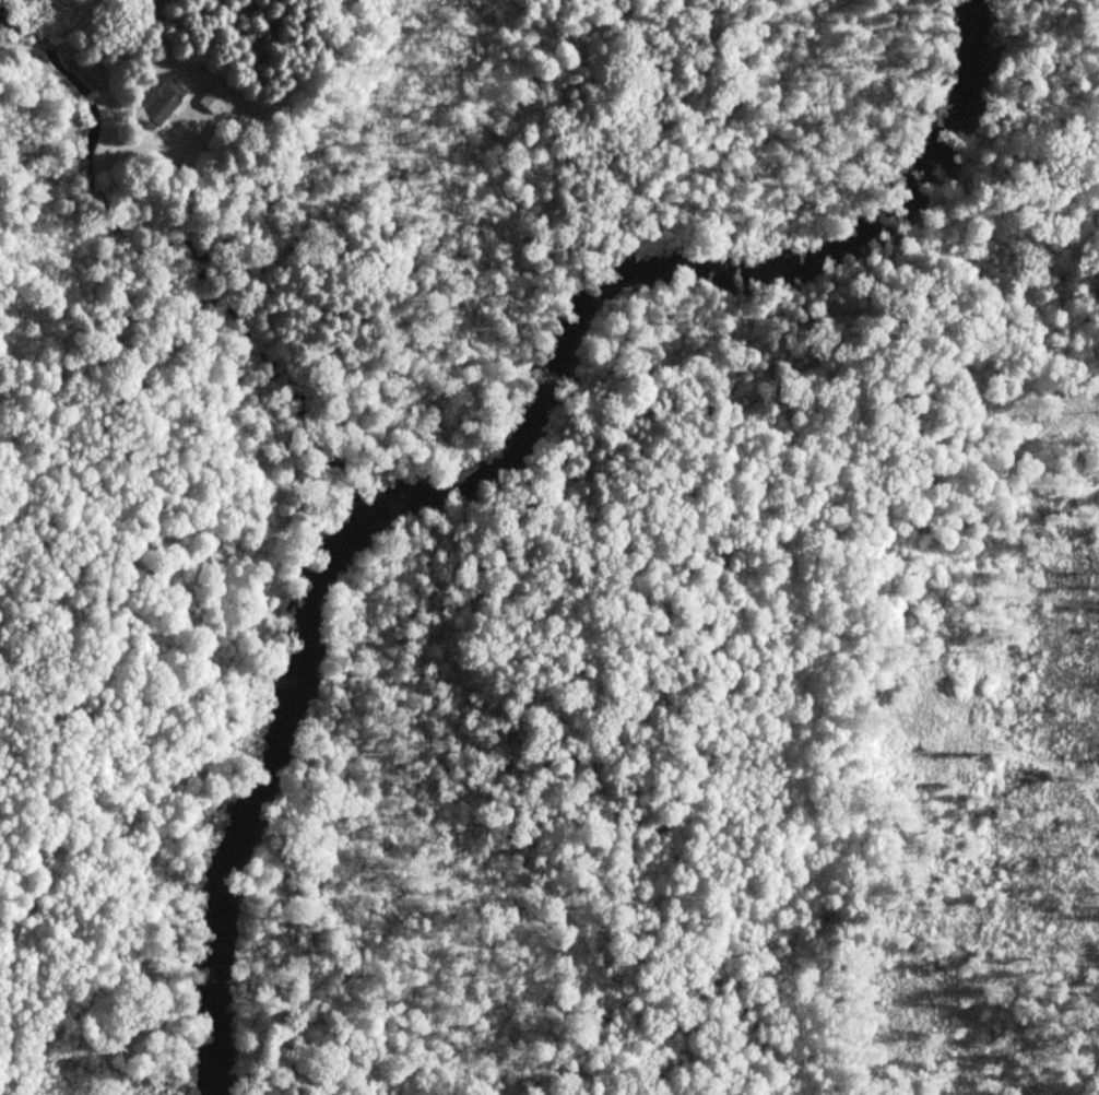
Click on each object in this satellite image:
road: (147, 70)
building: (211, 98)
building: (165, 104)
river: (499, 461)

